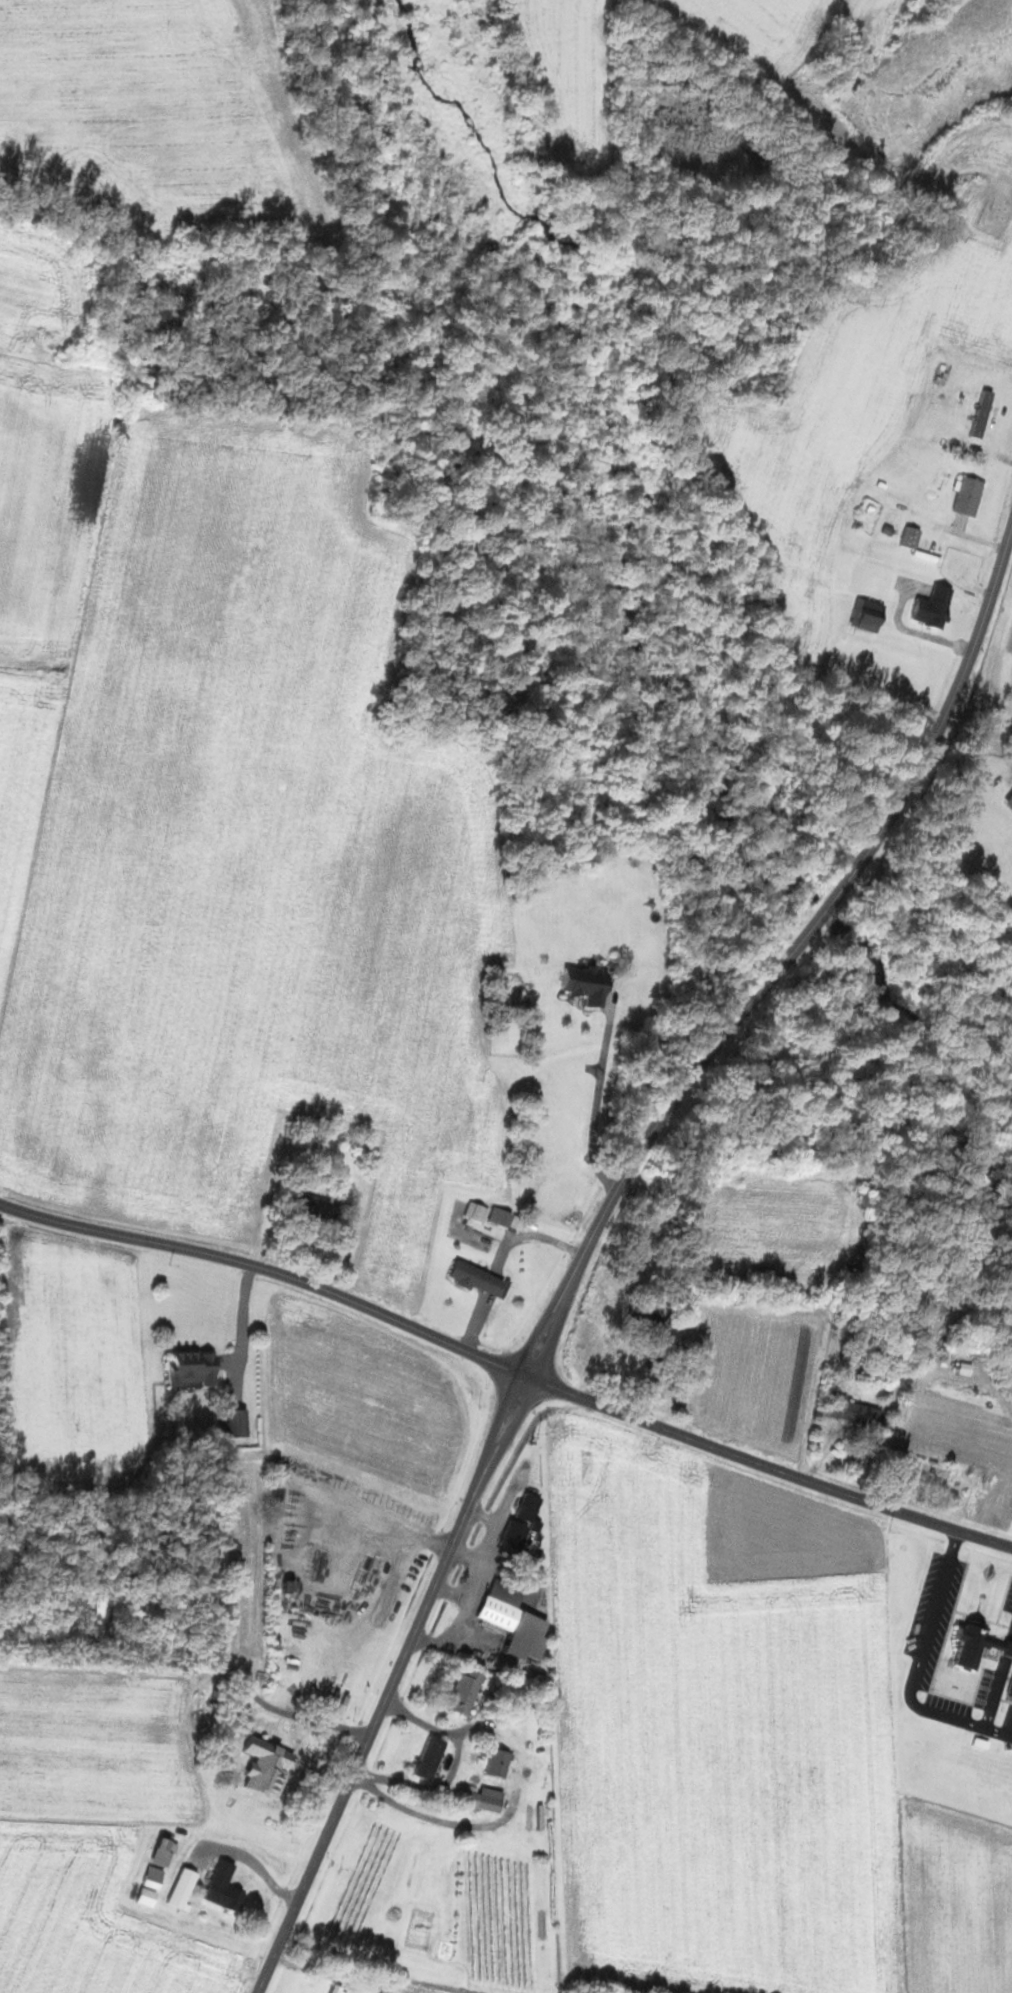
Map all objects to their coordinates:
building: (982, 414)
building: (967, 496)
building: (911, 538)
building: (931, 607)
building: (865, 617)
building: (1008, 802)
road: (787, 956)
building: (583, 985)
building: (321, 1209)
road: (268, 1268)
building: (473, 1278)
building: (645, 1321)
road: (246, 1327)
building: (198, 1368)
building: (854, 1411)
building: (237, 1423)
road: (767, 1464)
building: (935, 1467)
building: (517, 1523)
building: (295, 1588)
building: (101, 1616)
building: (509, 1620)
building: (974, 1647)
road: (243, 1682)
road: (398, 1683)
building: (1009, 1689)
building: (461, 1692)
building: (428, 1758)
building: (497, 1764)
building: (268, 1776)
building: (483, 1800)
building: (167, 1851)
building: (153, 1886)
building: (228, 1887)
building: (187, 1888)
building: (338, 1988)

